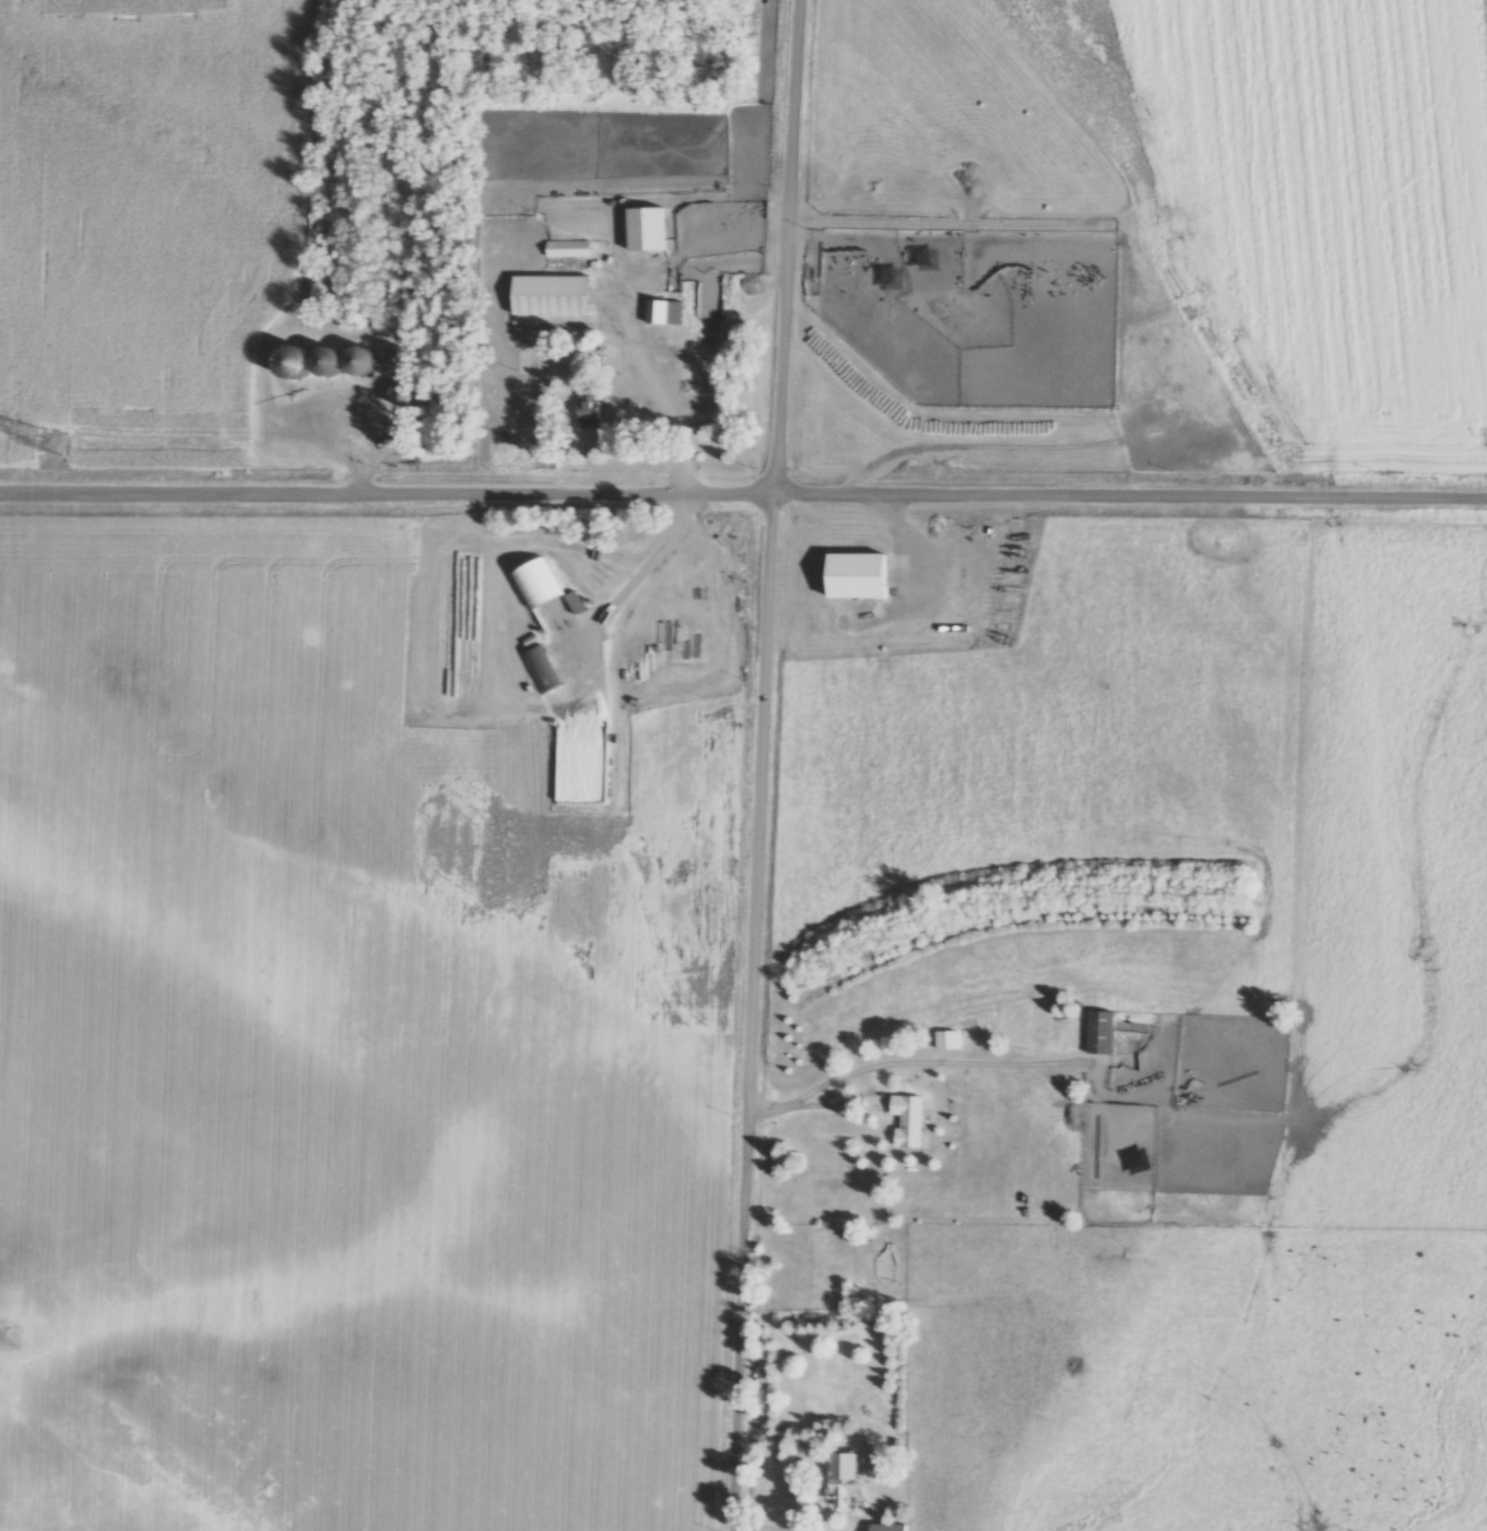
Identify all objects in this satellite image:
power tower: (52, 448)
road: (743, 497)
road: (762, 764)
road: (855, 1102)
power tower: (6, 1338)
road: (738, 1530)

